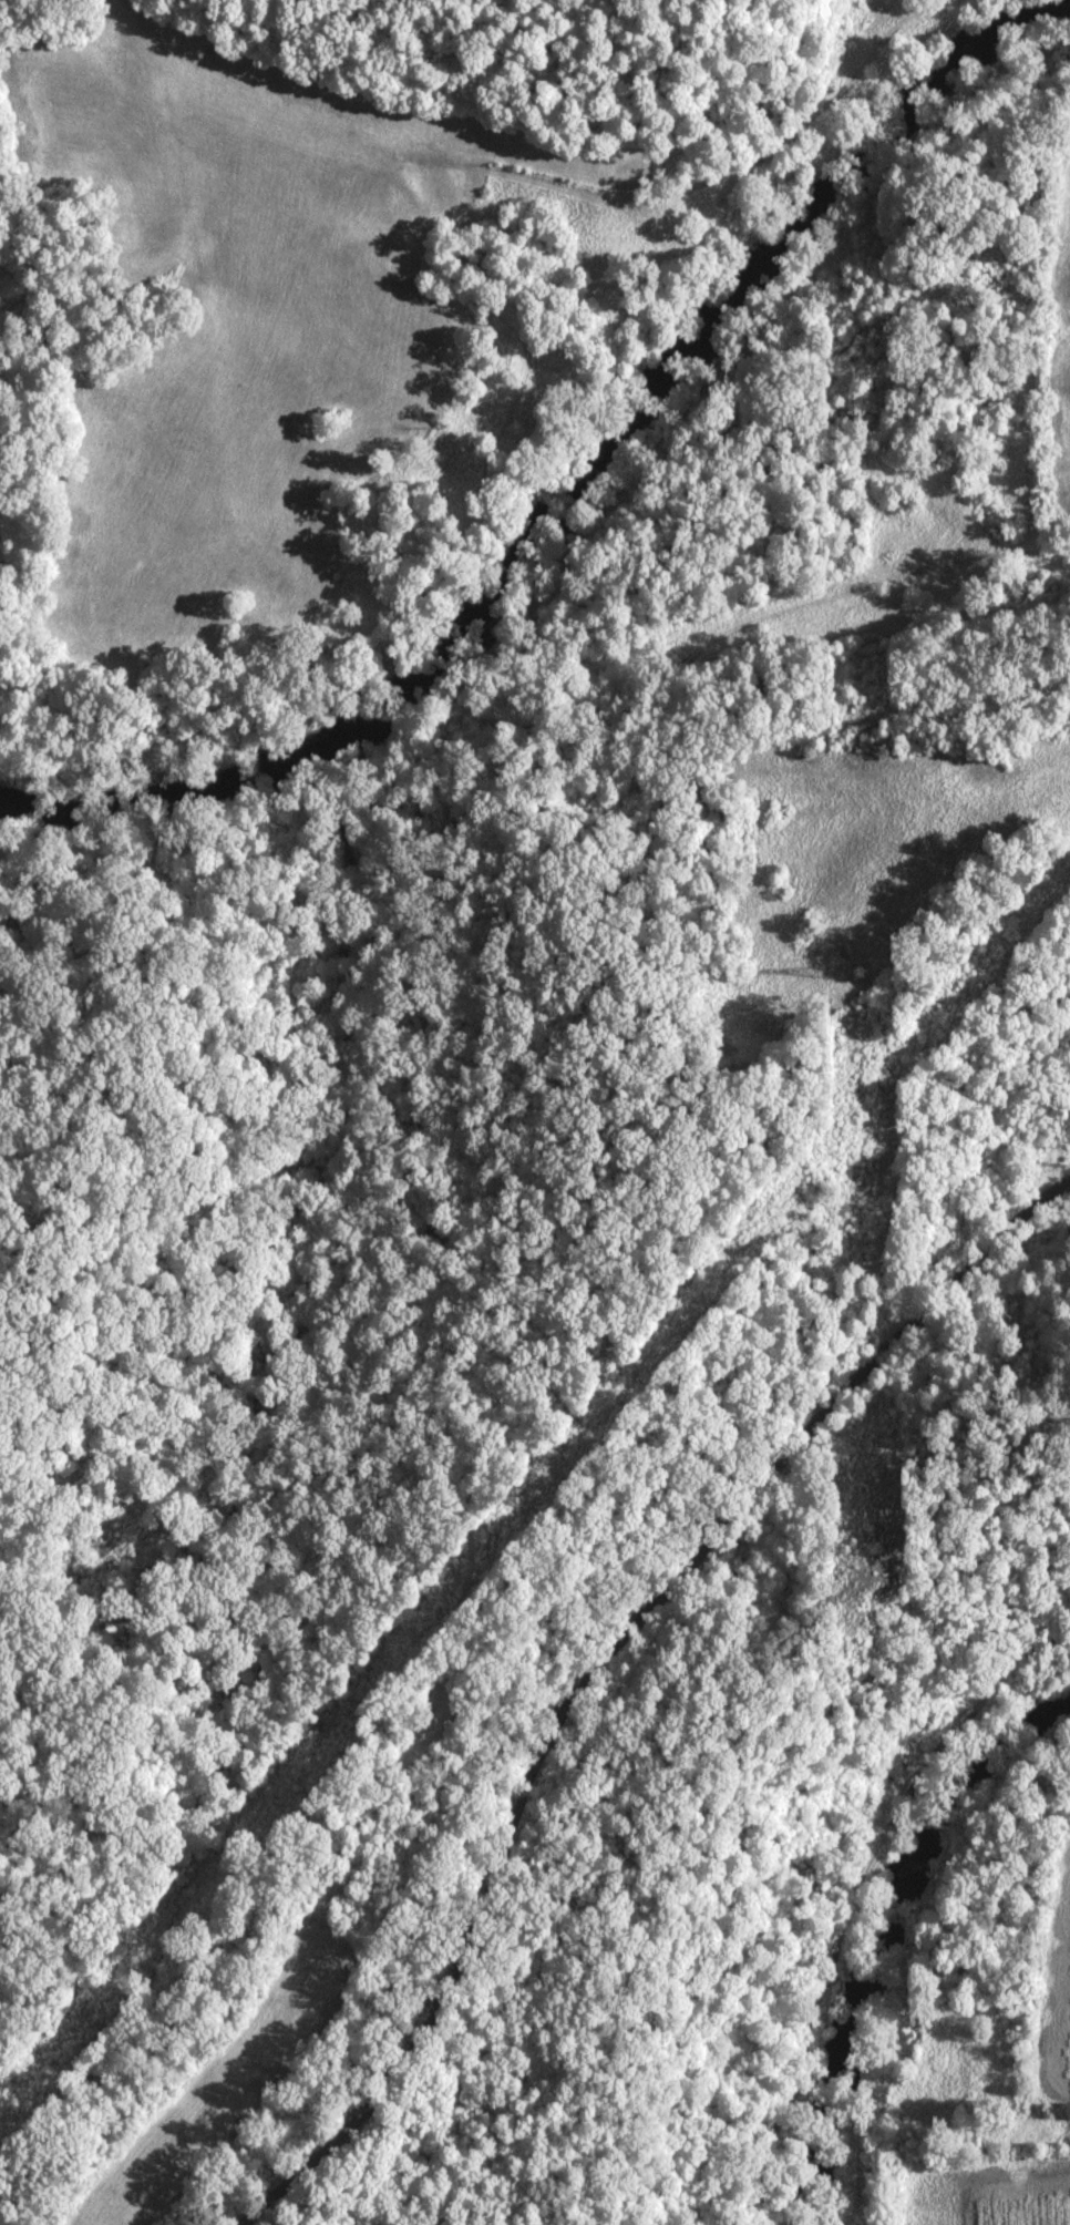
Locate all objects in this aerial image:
power tower: (857, 974)
power tower: (873, 1545)
road: (597, 1663)

